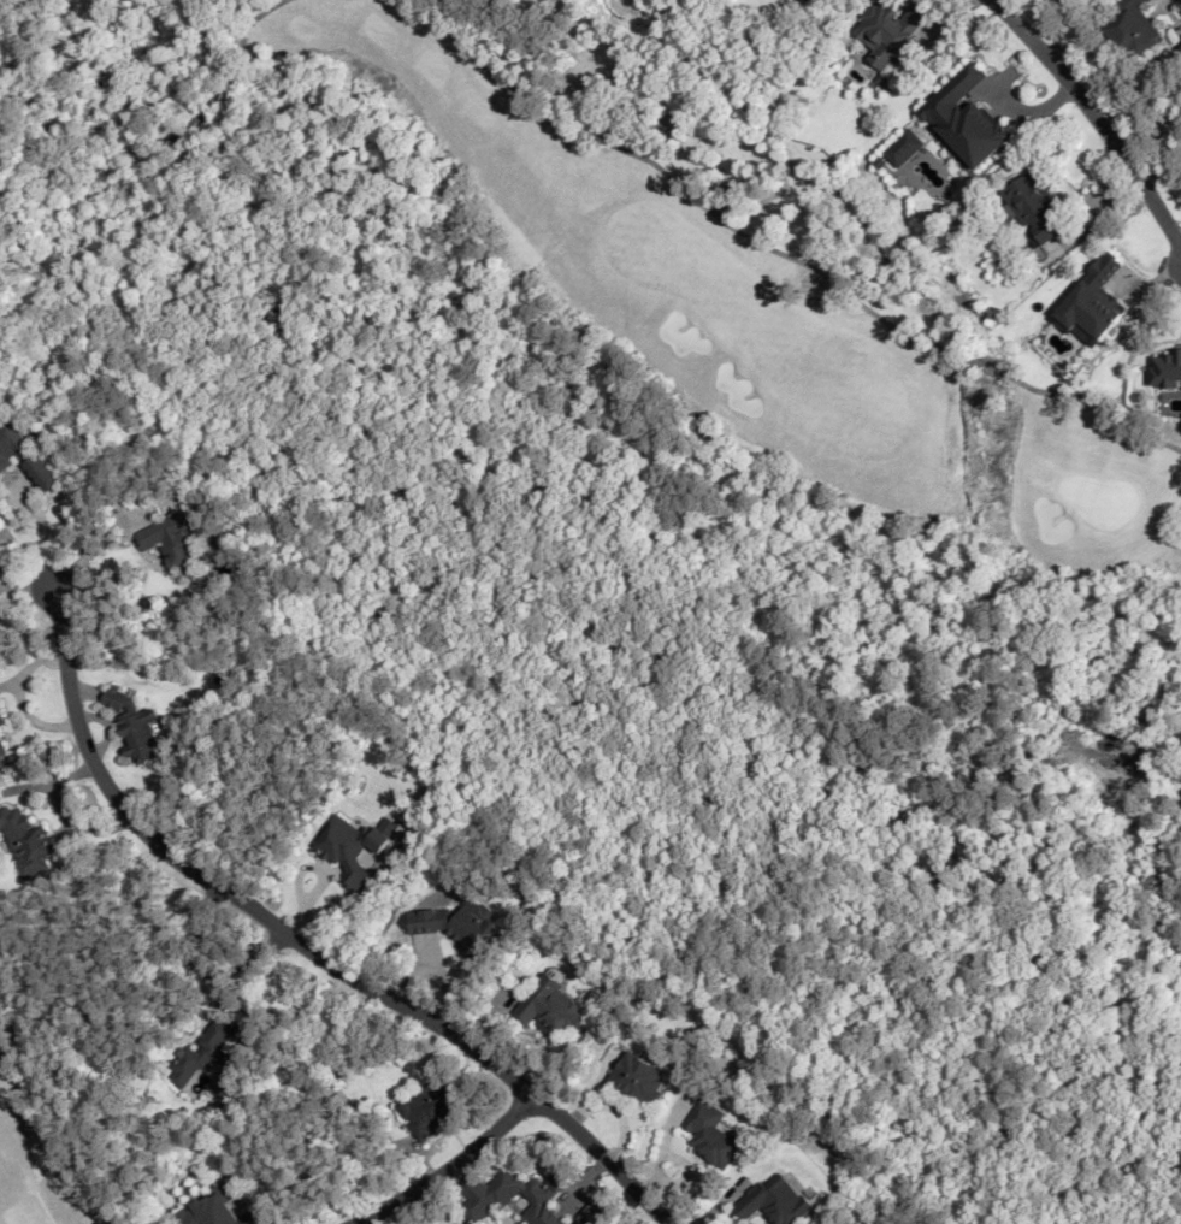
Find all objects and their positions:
building: (1130, 28)
building: (887, 31)
road: (1094, 117)
building: (963, 118)
building: (1031, 207)
building: (23, 454)
road: (96, 540)
building: (173, 542)
building: (129, 723)
building: (25, 839)
building: (454, 924)
road: (305, 947)
building: (545, 1009)
building: (207, 1060)
building: (636, 1080)
building: (425, 1107)
building: (709, 1134)
road: (449, 1170)
building: (486, 1194)
building: (213, 1208)
building: (589, 1216)

